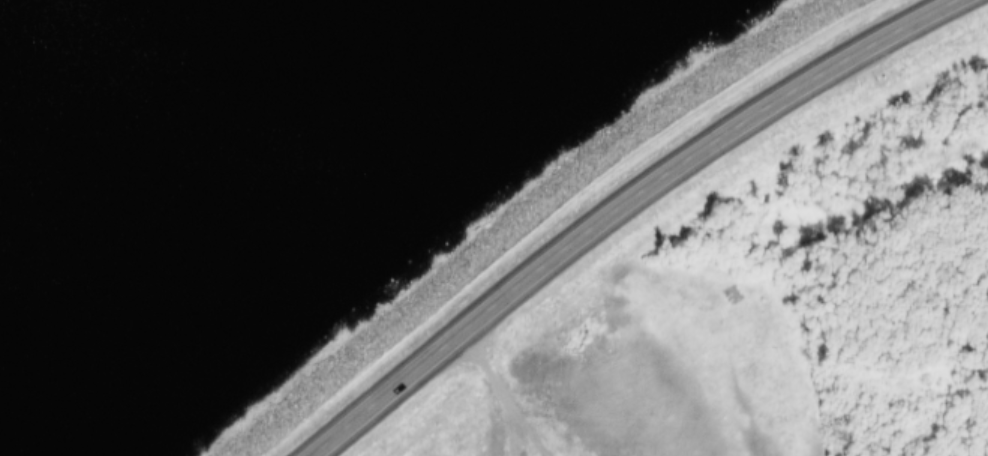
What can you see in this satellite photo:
road: (536, 212)
quarry: (531, 435)

